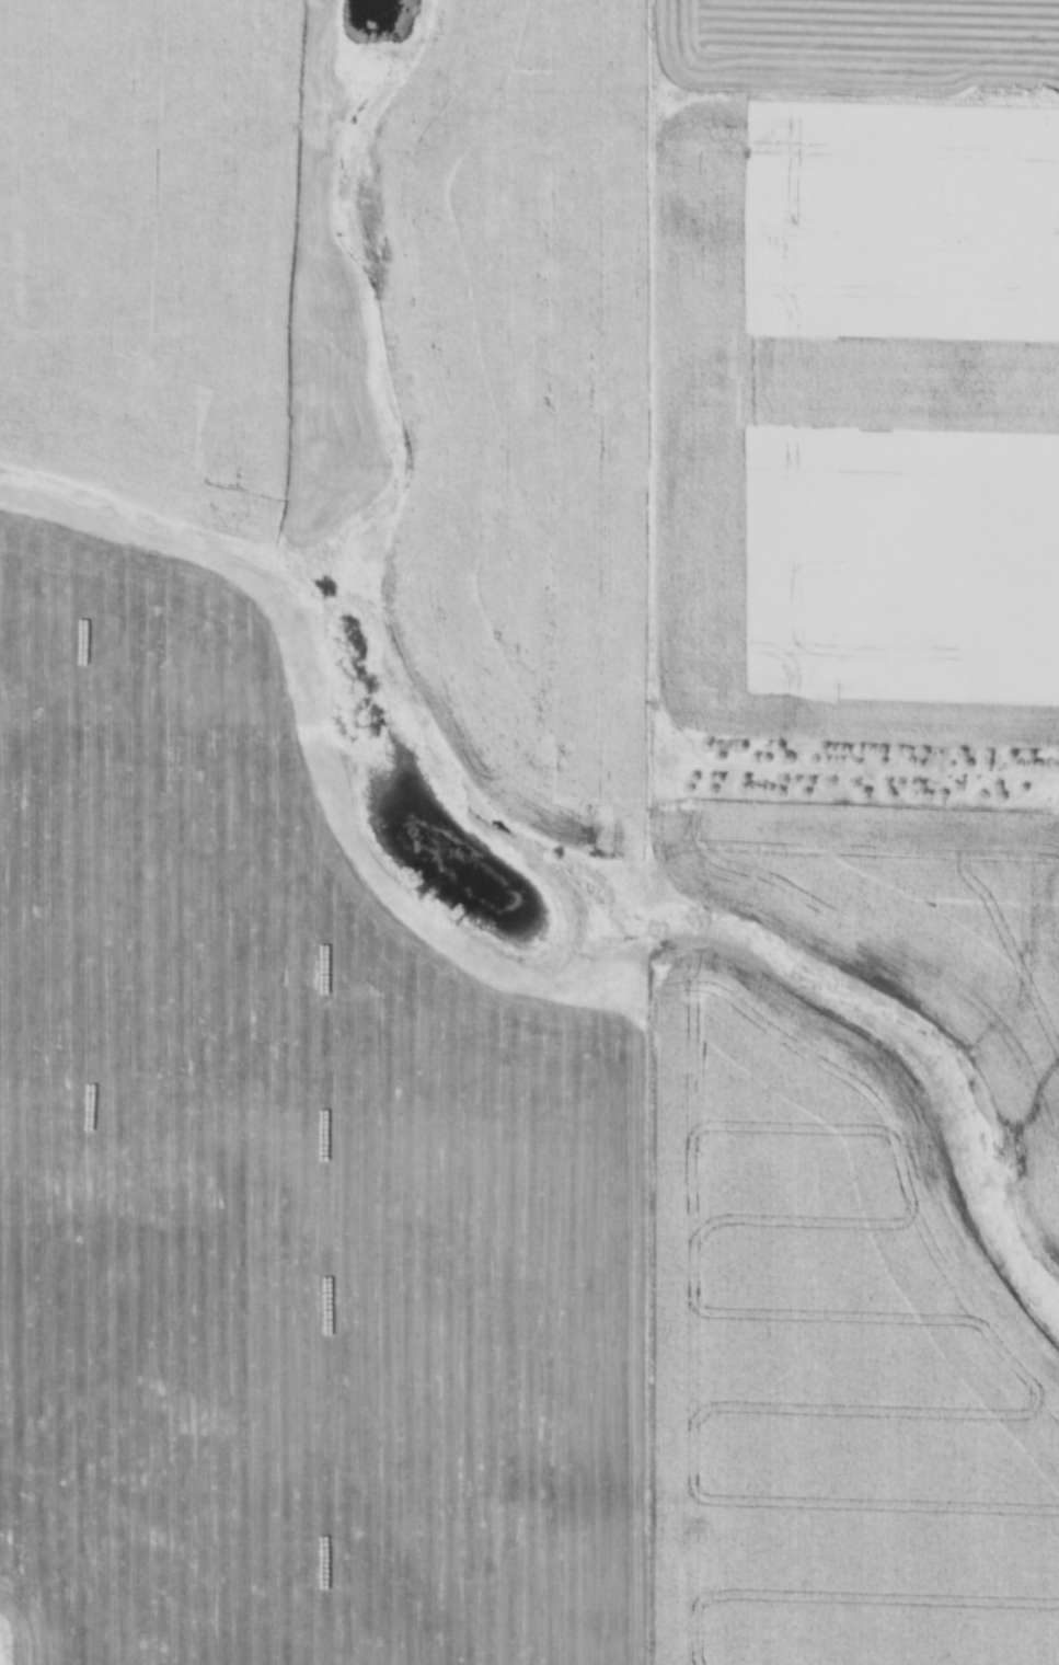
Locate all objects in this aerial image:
building: (1039, 735)

